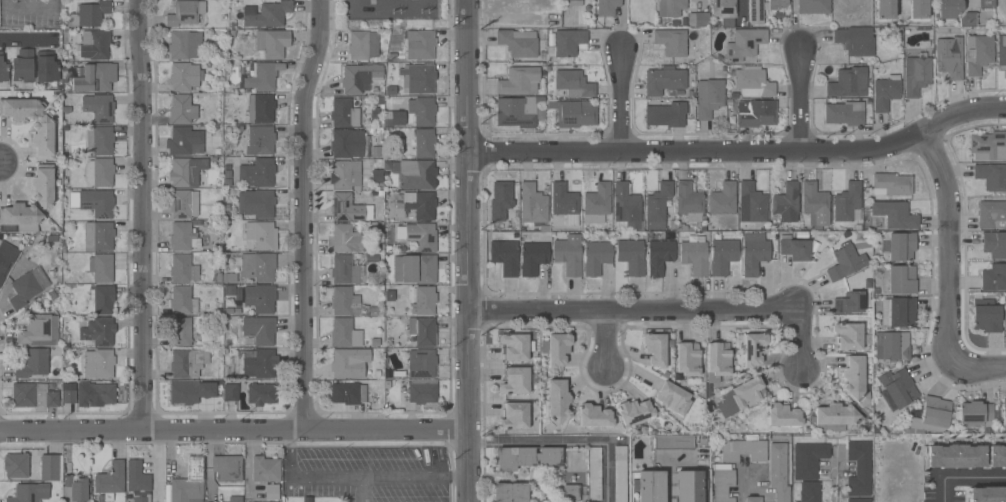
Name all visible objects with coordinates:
building: (575, 2)
road: (702, 2)
road: (966, 2)
building: (777, 4)
building: (985, 4)
road: (900, 6)
building: (605, 7)
building: (670, 7)
building: (813, 7)
building: (723, 8)
building: (947, 8)
power substation: (388, 9)
building: (885, 9)
building: (918, 9)
road: (742, 10)
road: (27, 11)
building: (755, 12)
building: (185, 13)
building: (89, 14)
building: (266, 14)
building: (698, 19)
building: (967, 19)
building: (855, 40)
road: (30, 41)
building: (518, 42)
building: (566, 42)
building: (272, 43)
building: (673, 43)
building: (92, 44)
building: (744, 44)
building: (184, 45)
building: (358, 45)
building: (420, 45)
building: (1001, 51)
building: (978, 54)
building: (949, 56)
building: (22, 66)
building: (45, 67)
building: (3, 69)
building: (916, 74)
building: (184, 76)
road: (622, 76)
building: (95, 77)
building: (261, 77)
building: (359, 78)
building: (418, 78)
building: (663, 80)
building: (518, 81)
building: (753, 82)
building: (573, 83)
building: (848, 83)
building: (885, 92)
building: (708, 97)
road: (801, 102)
building: (98, 107)
building: (20, 108)
building: (260, 108)
building: (181, 109)
building: (422, 110)
building: (516, 112)
building: (344, 113)
building: (573, 113)
building: (755, 113)
building: (844, 113)
building: (666, 114)
building: (393, 118)
building: (42, 137)
building: (99, 140)
building: (260, 140)
building: (184, 141)
building: (424, 142)
building: (346, 143)
building: (988, 145)
road: (741, 154)
building: (186, 171)
building: (99, 172)
building: (257, 173)
building: (415, 173)
building: (344, 174)
building: (376, 176)
building: (991, 176)
building: (891, 184)
building: (43, 185)
building: (722, 199)
building: (500, 200)
building: (689, 201)
building: (97, 202)
building: (786, 202)
building: (183, 203)
building: (257, 203)
building: (564, 203)
building: (597, 203)
building: (751, 203)
building: (815, 203)
building: (847, 203)
building: (416, 204)
building: (532, 204)
building: (626, 205)
building: (657, 206)
building: (345, 207)
building: (992, 214)
road: (300, 215)
building: (895, 215)
road: (142, 216)
building: (19, 218)
building: (261, 235)
building: (98, 236)
building: (183, 236)
building: (421, 237)
building: (344, 239)
road: (949, 244)
building: (994, 244)
building: (901, 246)
building: (795, 249)
road: (469, 251)
building: (567, 252)
building: (754, 255)
building: (504, 256)
building: (631, 256)
building: (694, 256)
building: (722, 256)
building: (595, 257)
building: (659, 257)
building: (6, 258)
building: (533, 258)
building: (843, 263)
building: (255, 266)
building: (415, 268)
building: (101, 269)
building: (183, 269)
building: (344, 269)
building: (229, 277)
building: (994, 278)
building: (901, 280)
building: (28, 286)
building: (228, 291)
building: (260, 298)
building: (103, 299)
building: (422, 299)
building: (182, 300)
building: (344, 301)
building: (849, 302)
building: (898, 312)
road: (634, 313)
building: (985, 315)
building: (1005, 327)
building: (39, 330)
building: (258, 330)
building: (422, 330)
building: (98, 331)
building: (181, 331)
building: (345, 333)
building: (848, 335)
road: (799, 337)
road: (608, 341)
building: (514, 346)
building: (892, 346)
building: (556, 348)
building: (655, 349)
building: (753, 349)
building: (687, 359)
building: (717, 361)
building: (188, 362)
building: (349, 362)
building: (34, 363)
building: (99, 363)
building: (259, 363)
building: (421, 363)
road: (980, 368)
building: (855, 378)
building: (515, 381)
building: (898, 387)
building: (190, 391)
building: (421, 391)
building: (230, 392)
building: (69, 393)
building: (94, 393)
building: (260, 393)
building: (348, 393)
building: (33, 395)
building: (741, 396)
building: (673, 398)
building: (557, 400)
building: (633, 411)
building: (976, 414)
building: (1004, 414)
building: (783, 415)
building: (514, 416)
building: (594, 416)
building: (930, 416)
building: (833, 417)
road: (233, 433)
road: (567, 441)
building: (672, 443)
building: (744, 450)
building: (955, 456)
building: (997, 456)
building: (527, 457)
building: (808, 459)
building: (16, 465)
building: (51, 467)
building: (227, 468)
building: (859, 468)
building: (265, 469)
building: (778, 471)
building: (594, 473)
building: (620, 474)
road: (356, 477)
road: (963, 477)
building: (109, 481)
building: (138, 481)
road: (836, 482)
building: (187, 485)
building: (723, 485)
building: (649, 486)
building: (689, 486)
building: (75, 488)
road: (740, 488)
road: (361, 489)
building: (271, 491)
building: (805, 491)
building: (29, 492)
building: (510, 492)
building: (571, 493)
building: (987, 494)
building: (234, 499)
building: (753, 499)
building: (858, 500)

